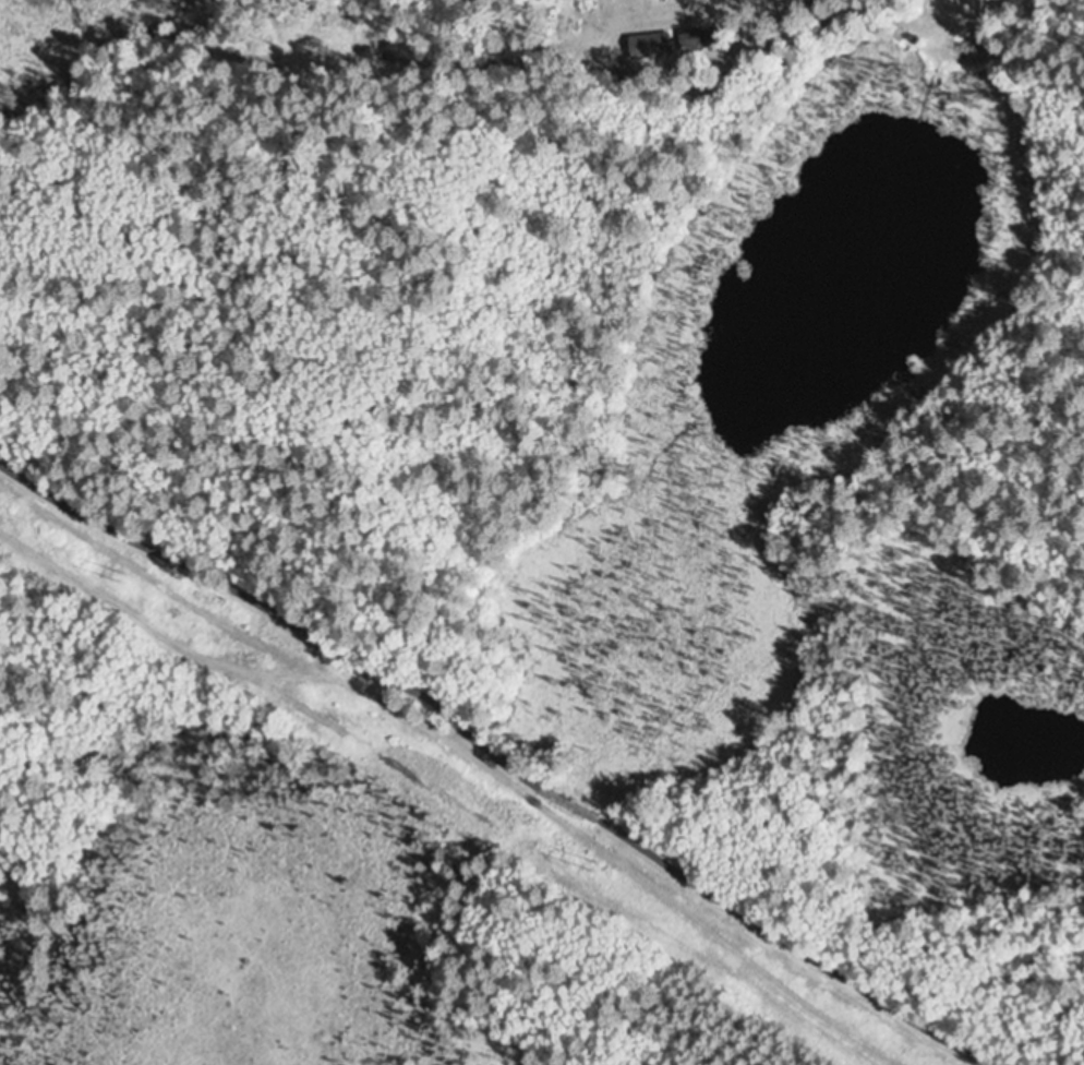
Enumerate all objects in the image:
building: (716, 34)
building: (696, 36)
building: (657, 43)
power tower: (115, 569)
road: (491, 753)
power tower: (592, 858)

